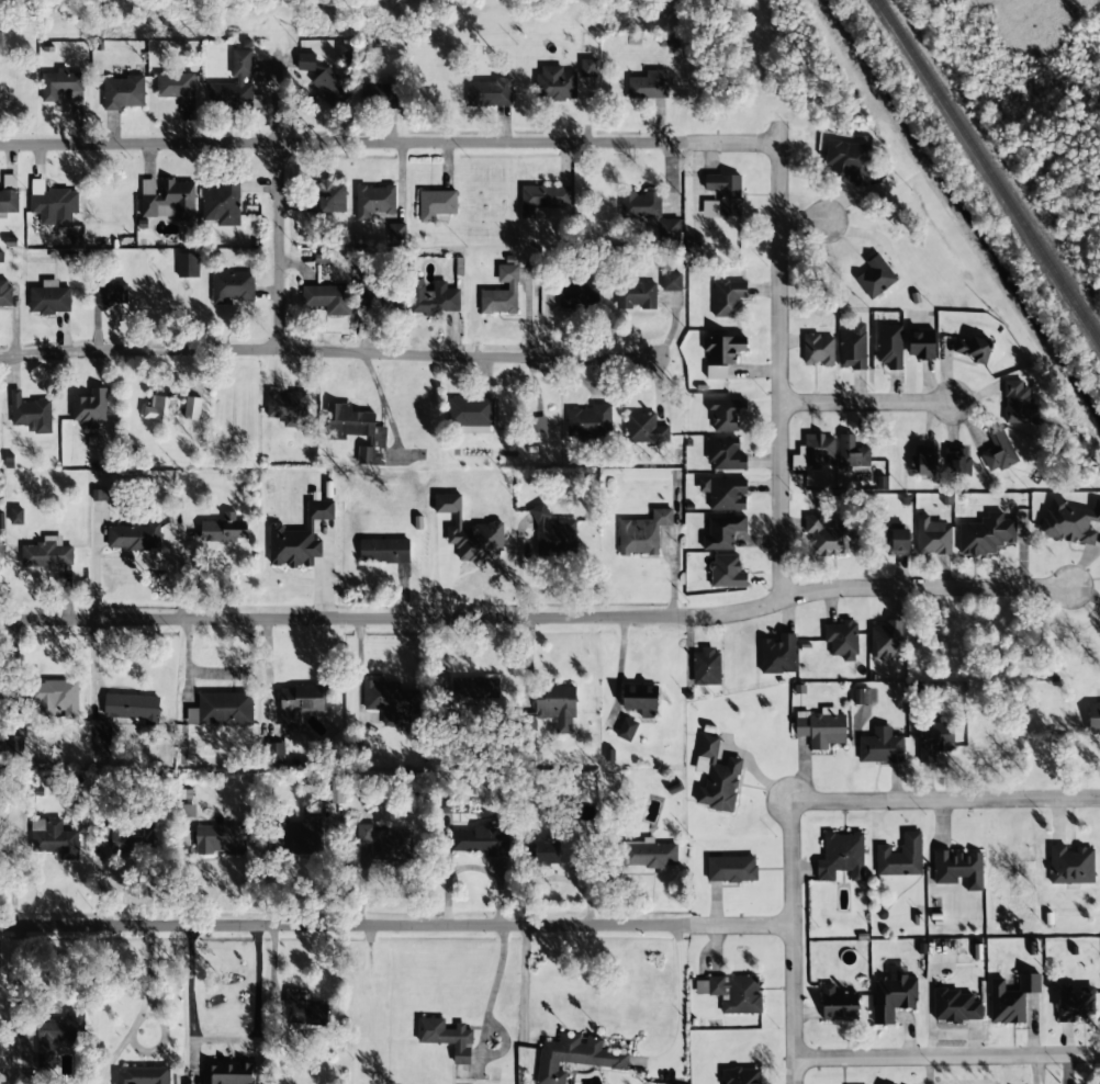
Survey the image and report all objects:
building: (588, 68)
building: (319, 76)
building: (554, 83)
building: (63, 86)
building: (648, 86)
building: (236, 87)
building: (177, 88)
building: (123, 92)
building: (490, 92)
building: (380, 94)
road: (428, 144)
building: (850, 161)
railway: (988, 170)
building: (726, 192)
building: (330, 195)
building: (168, 200)
building: (545, 200)
road: (279, 202)
building: (221, 203)
building: (640, 204)
building: (437, 205)
building: (54, 206)
building: (380, 207)
road: (802, 219)
building: (670, 229)
building: (188, 266)
building: (876, 276)
building: (671, 281)
building: (233, 286)
building: (502, 292)
building: (4, 293)
building: (110, 293)
building: (577, 294)
building: (636, 295)
building: (49, 298)
building: (328, 298)
building: (434, 298)
building: (728, 298)
building: (921, 345)
building: (889, 347)
building: (852, 348)
building: (818, 349)
building: (974, 349)
road: (323, 352)
building: (721, 353)
building: (1015, 402)
road: (865, 403)
building: (288, 407)
building: (89, 408)
building: (160, 408)
building: (192, 408)
road: (781, 408)
building: (31, 414)
building: (471, 414)
building: (726, 414)
building: (590, 420)
building: (355, 424)
building: (538, 429)
building: (644, 429)
building: (819, 451)
building: (852, 453)
building: (998, 453)
building: (725, 454)
building: (366, 455)
building: (923, 461)
building: (957, 462)
building: (725, 493)
building: (100, 495)
building: (16, 516)
building: (1, 520)
building: (1069, 521)
building: (224, 529)
building: (469, 532)
building: (722, 532)
building: (553, 533)
building: (642, 533)
building: (986, 534)
building: (828, 537)
building: (932, 537)
building: (133, 538)
building: (298, 539)
building: (896, 542)
building: (47, 553)
building: (389, 555)
building: (727, 572)
road: (537, 618)
building: (842, 639)
building: (886, 641)
building: (778, 654)
building: (706, 667)
building: (474, 689)
building: (861, 696)
building: (56, 697)
building: (640, 699)
building: (390, 701)
building: (302, 703)
building: (557, 707)
building: (131, 708)
building: (222, 709)
building: (1093, 718)
building: (821, 727)
building: (627, 729)
building: (101, 738)
building: (933, 739)
building: (880, 746)
building: (276, 753)
building: (716, 777)
building: (336, 789)
road: (945, 801)
building: (187, 810)
building: (456, 810)
building: (302, 831)
building: (54, 838)
building: (125, 839)
building: (482, 839)
building: (221, 840)
building: (385, 843)
building: (547, 852)
building: (649, 854)
building: (841, 856)
building: (900, 857)
building: (1070, 866)
building: (731, 869)
building: (958, 869)
road: (396, 925)
road: (794, 942)
road: (525, 981)
building: (737, 994)
building: (893, 997)
building: (1011, 998)
road: (680, 1000)
building: (1075, 1002)
building: (838, 1004)
building: (955, 1006)
road: (482, 1020)
building: (58, 1035)
road: (224, 1040)
building: (449, 1042)
building: (575, 1057)
road: (947, 1057)
building: (227, 1073)
building: (142, 1075)
building: (741, 1075)

